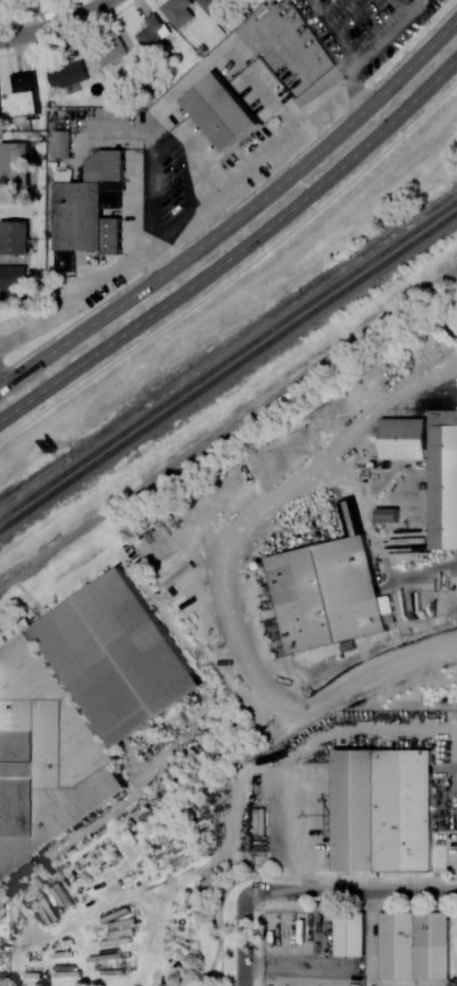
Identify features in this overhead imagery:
building: (0, 1)
building: (207, 3)
building: (177, 11)
road: (57, 26)
building: (152, 33)
road: (374, 48)
building: (120, 54)
building: (68, 74)
building: (25, 93)
building: (221, 111)
building: (60, 143)
building: (14, 164)
road: (239, 200)
building: (89, 208)
road: (240, 217)
building: (14, 237)
road: (238, 252)
road: (237, 273)
building: (13, 281)
railway: (228, 358)
railway: (228, 372)
building: (406, 438)
building: (443, 479)
building: (387, 514)
road: (215, 572)
building: (328, 593)
building: (122, 658)
road: (368, 729)
building: (385, 810)
road: (292, 827)
road: (309, 875)
road: (350, 890)
building: (349, 931)
road: (244, 938)
road: (371, 938)
building: (397, 944)
road: (221, 966)
road: (292, 966)
road: (209, 969)

